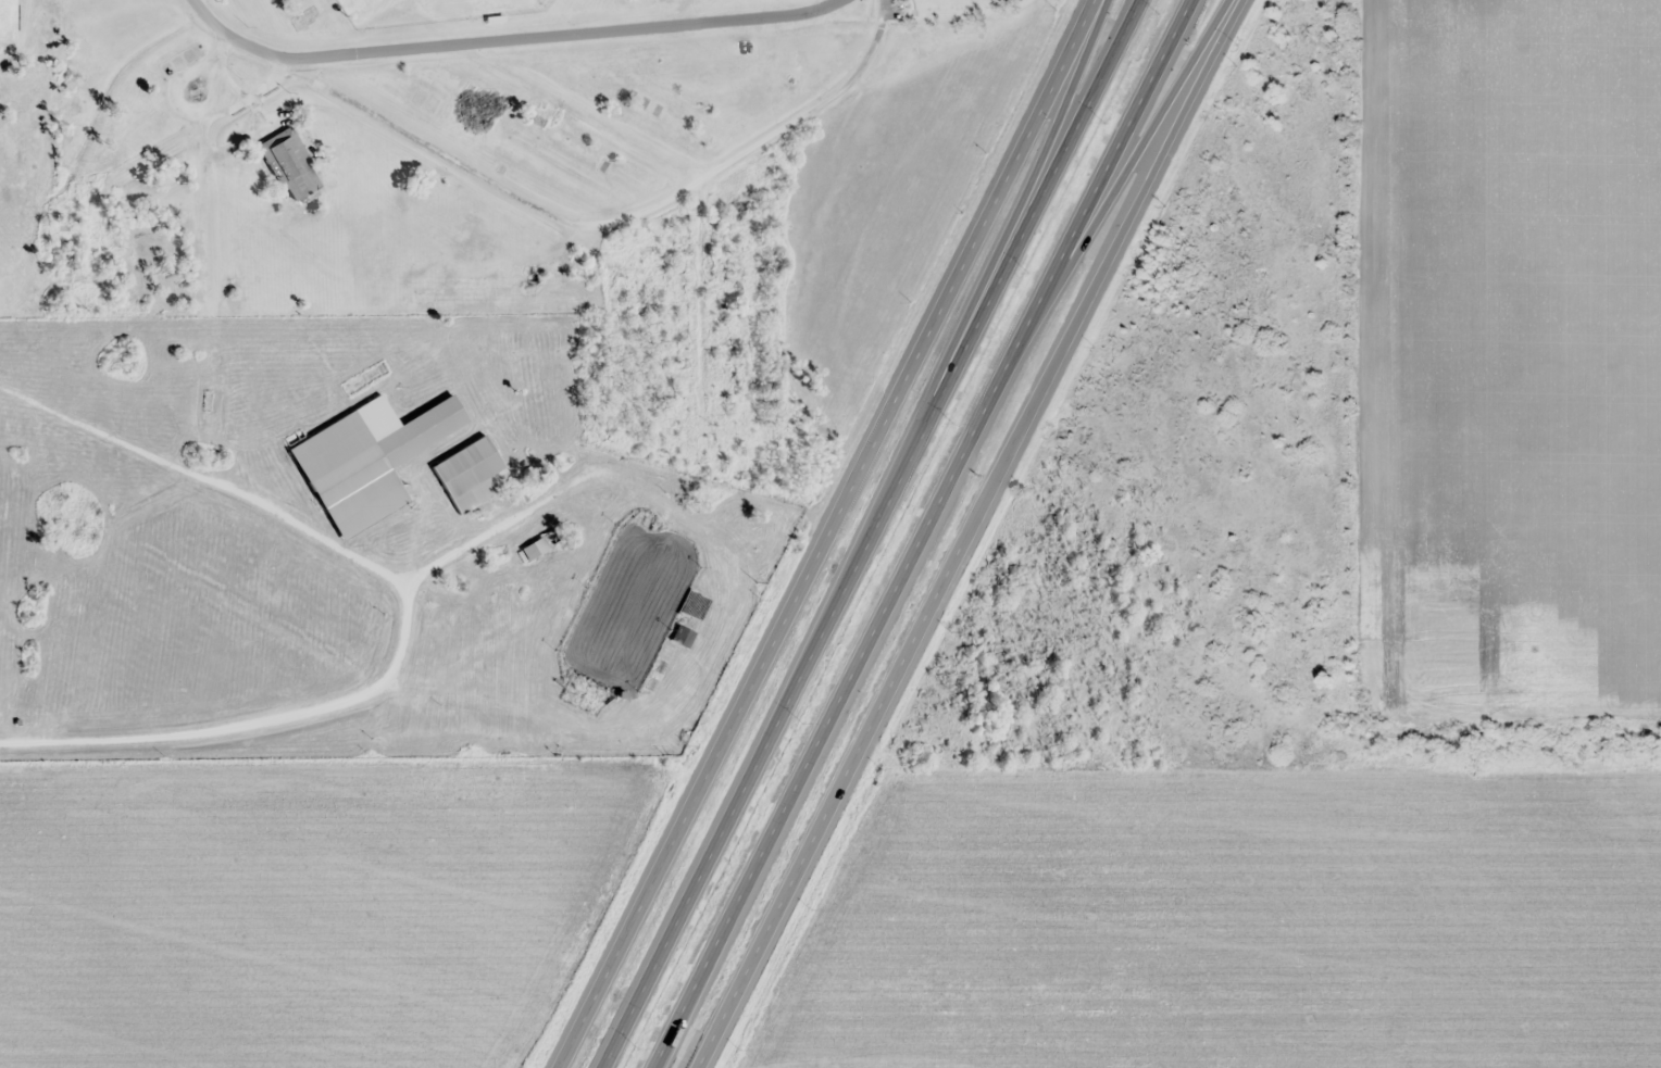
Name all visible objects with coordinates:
road: (209, 17)
road: (645, 26)
road: (253, 47)
road: (369, 50)
road: (188, 124)
building: (288, 163)
road: (1124, 175)
road: (696, 184)
road: (1014, 192)
road: (1039, 193)
road: (607, 226)
road: (204, 255)
road: (927, 328)
road: (594, 351)
road: (1023, 417)
building: (365, 463)
building: (467, 474)
road: (925, 533)
building: (539, 543)
road: (352, 556)
building: (691, 604)
building: (680, 636)
road: (394, 638)
road: (299, 712)
road: (772, 728)
road: (663, 862)
road: (754, 951)

